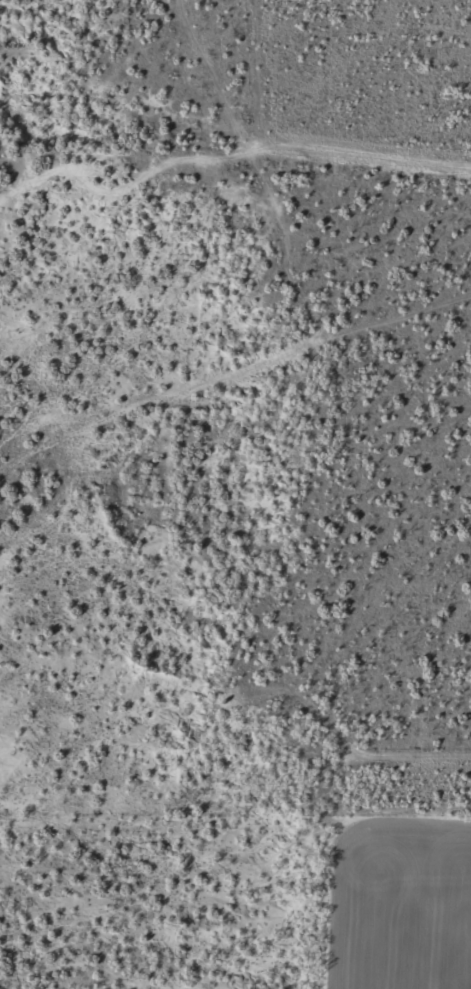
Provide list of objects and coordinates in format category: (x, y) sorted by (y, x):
road: (275, 160)

